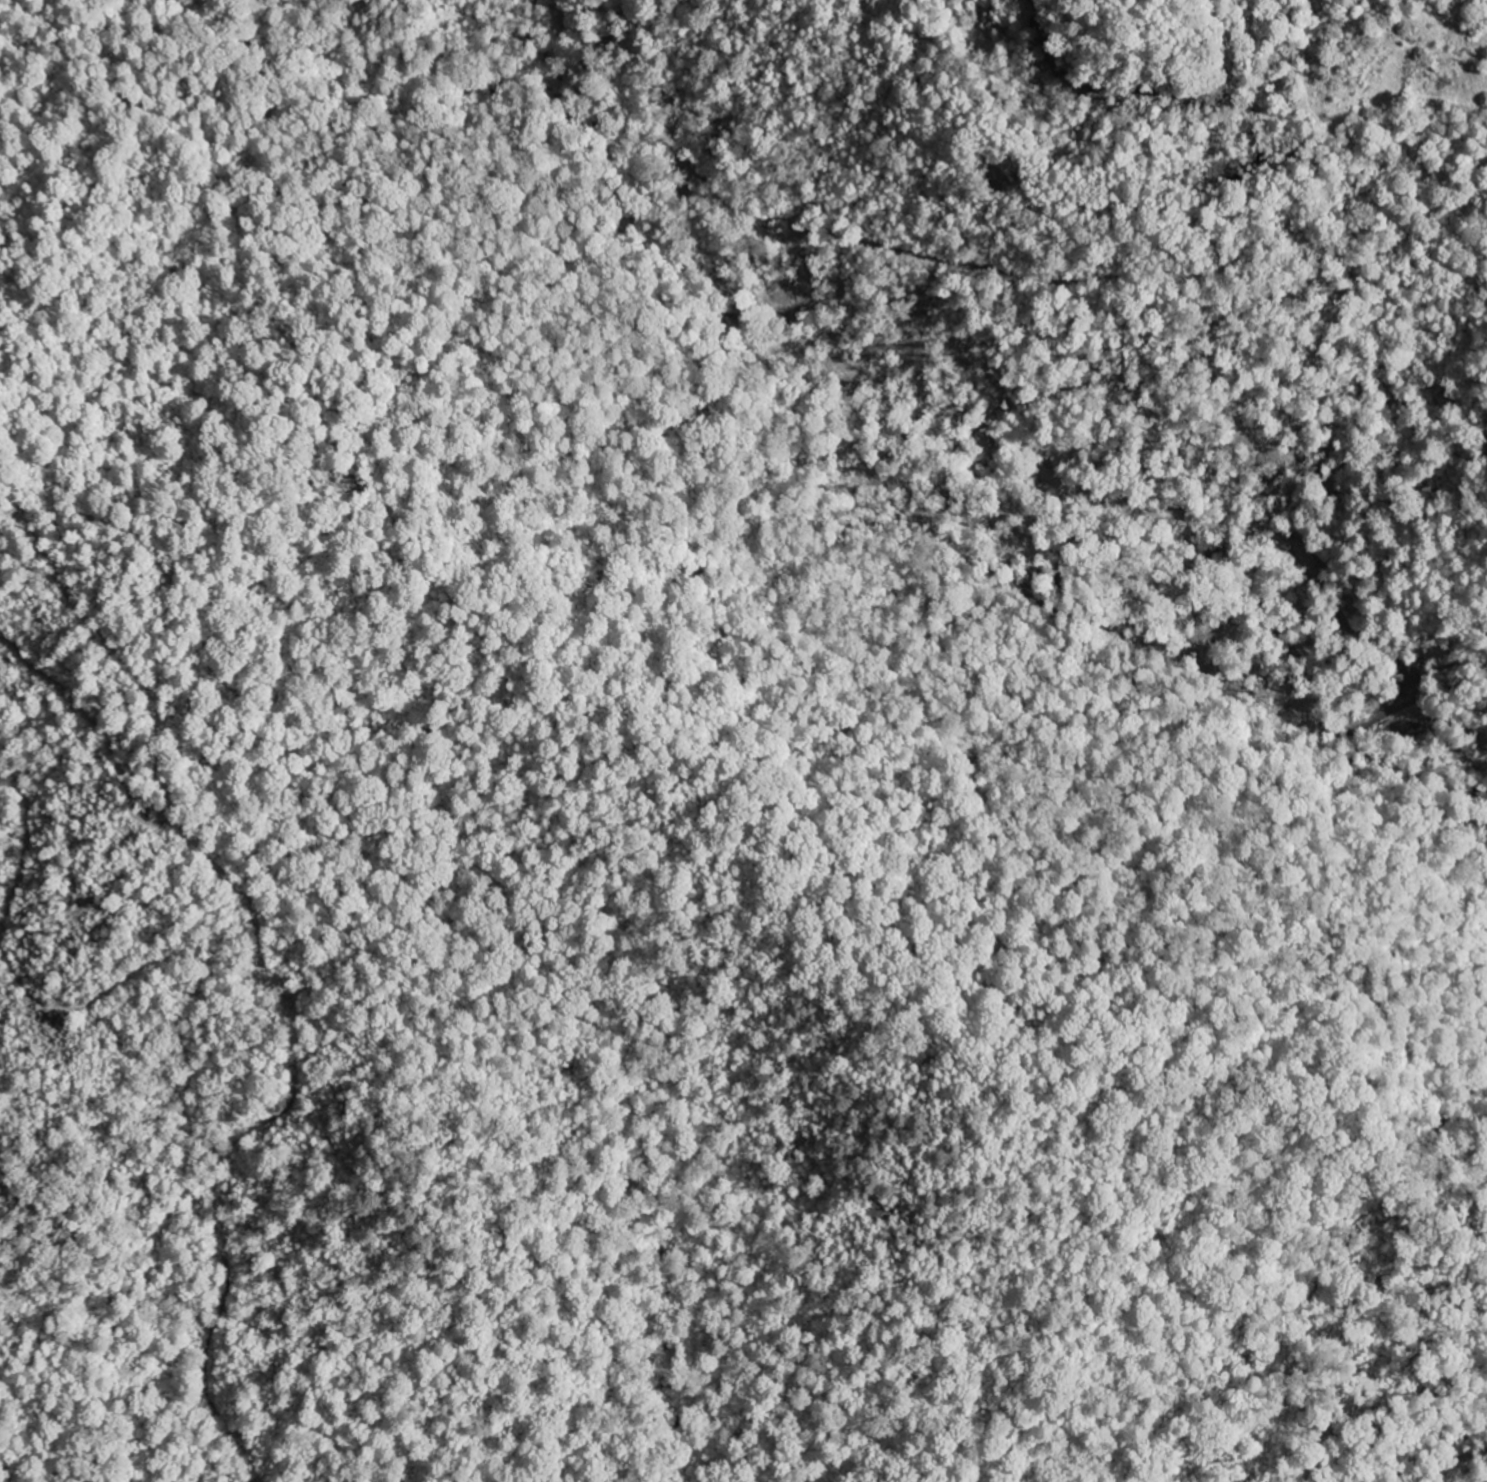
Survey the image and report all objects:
road: (1440, 1465)

